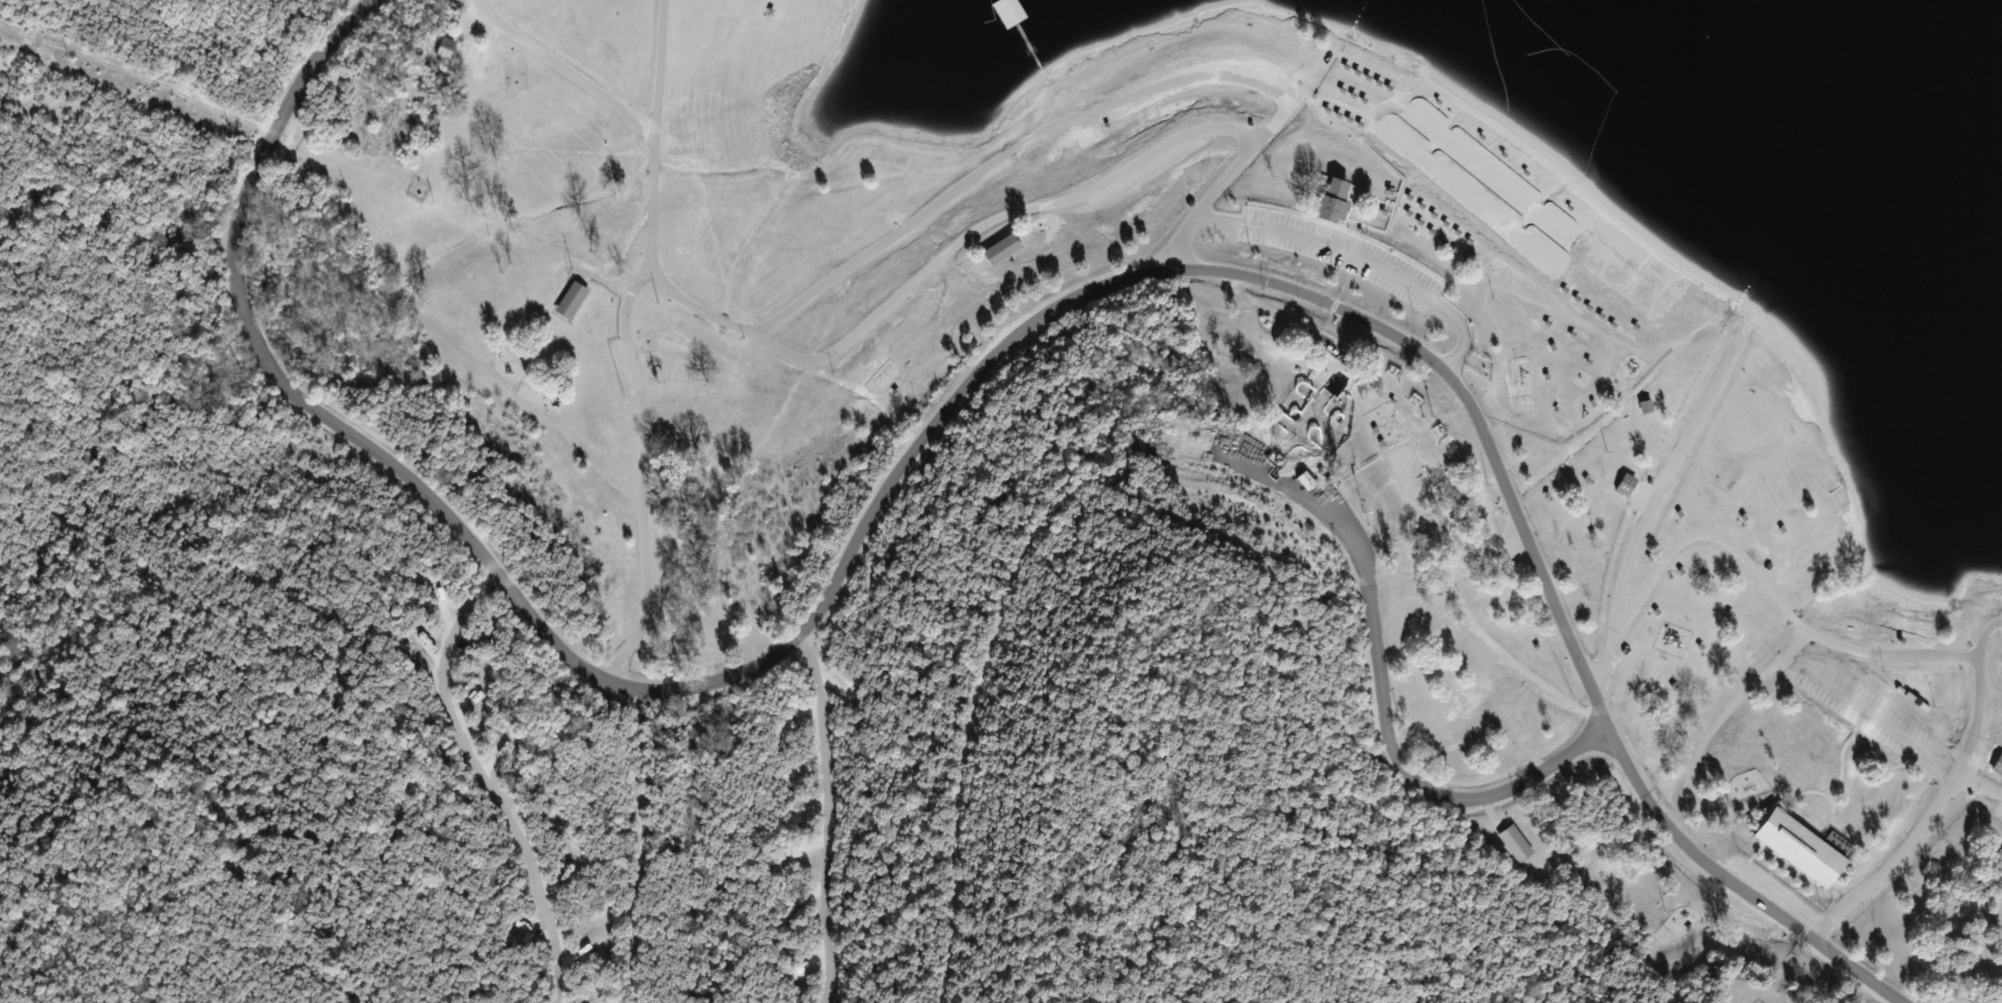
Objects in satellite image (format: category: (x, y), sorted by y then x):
building: (997, 15)
building: (445, 49)
building: (1333, 203)
road: (1332, 242)
building: (1001, 251)
building: (570, 302)
building: (651, 346)
road: (945, 399)
building: (1307, 482)
building: (1625, 485)
road: (1646, 503)
park: (915, 542)
road: (1378, 695)
building: (1998, 766)
road: (1937, 790)
building: (1516, 844)
building: (1799, 849)
building: (565, 879)

